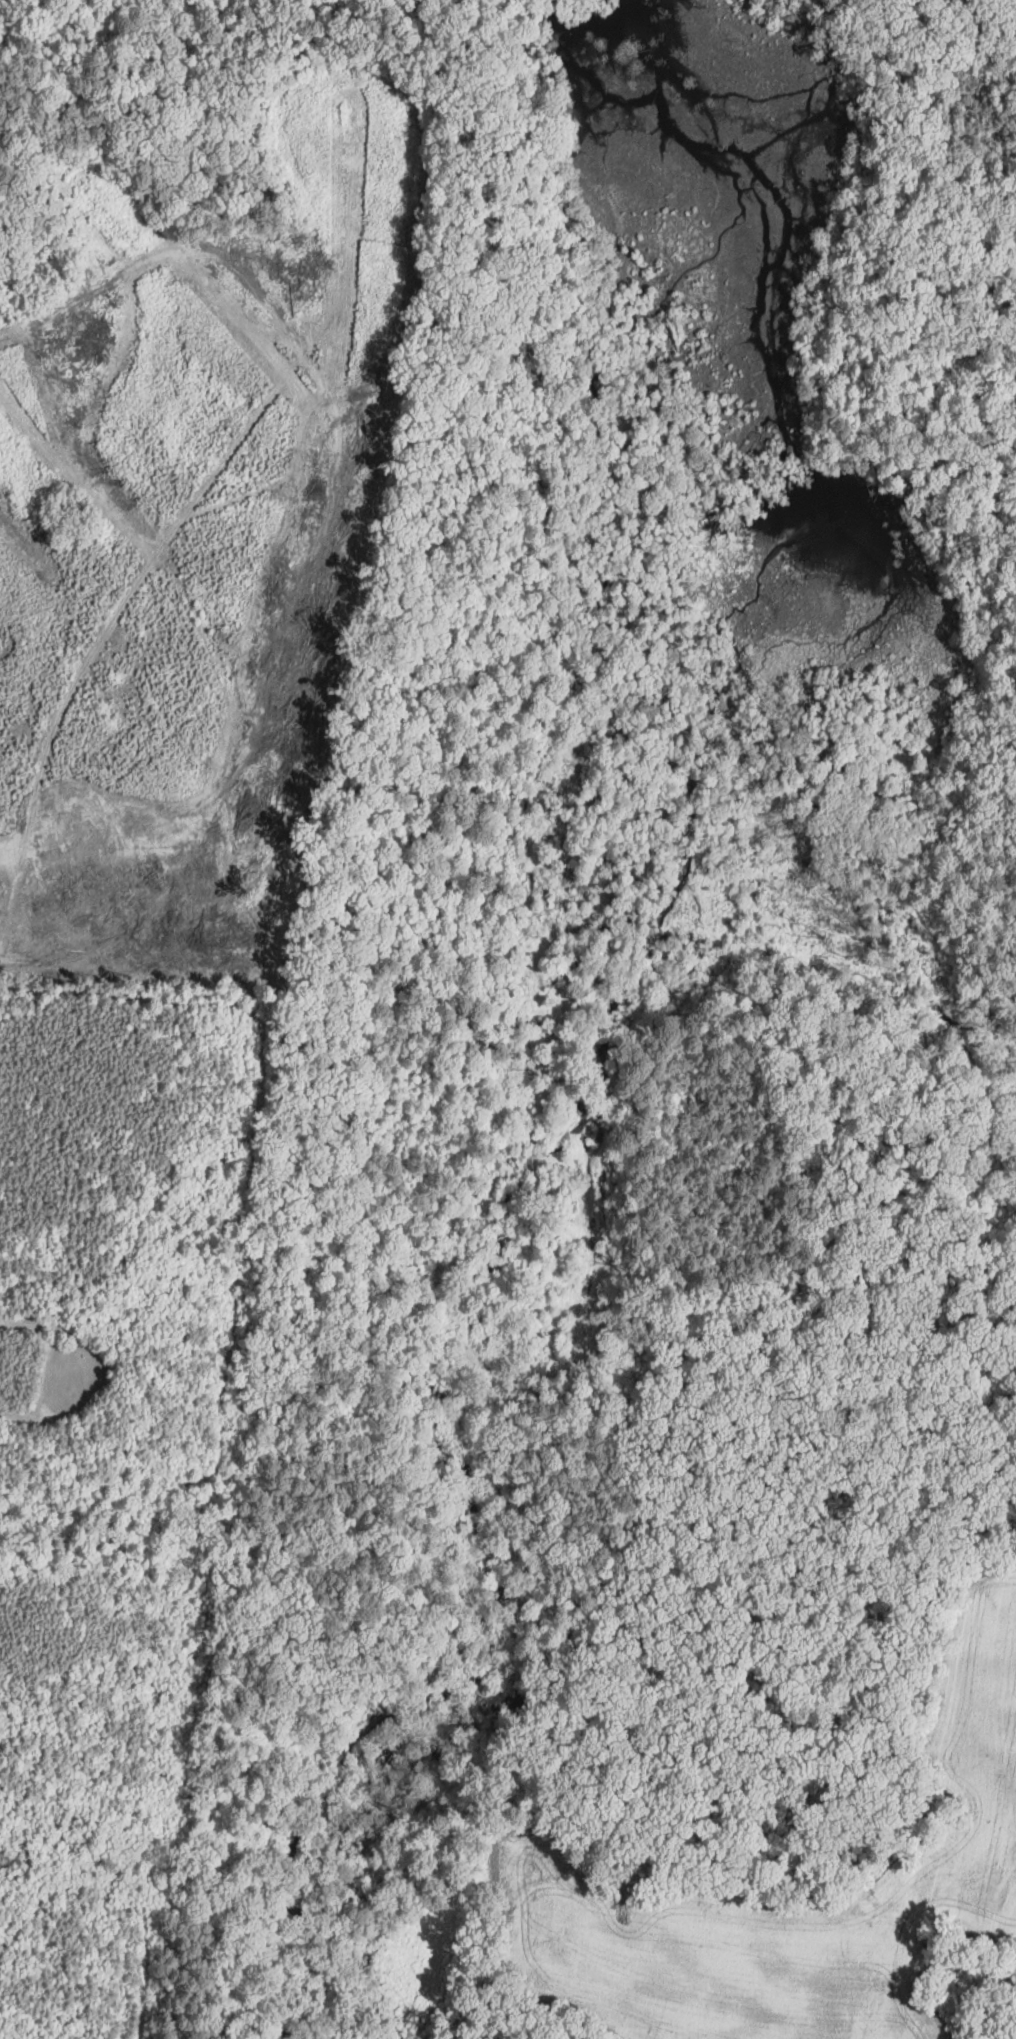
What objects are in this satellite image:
road: (13, 907)

